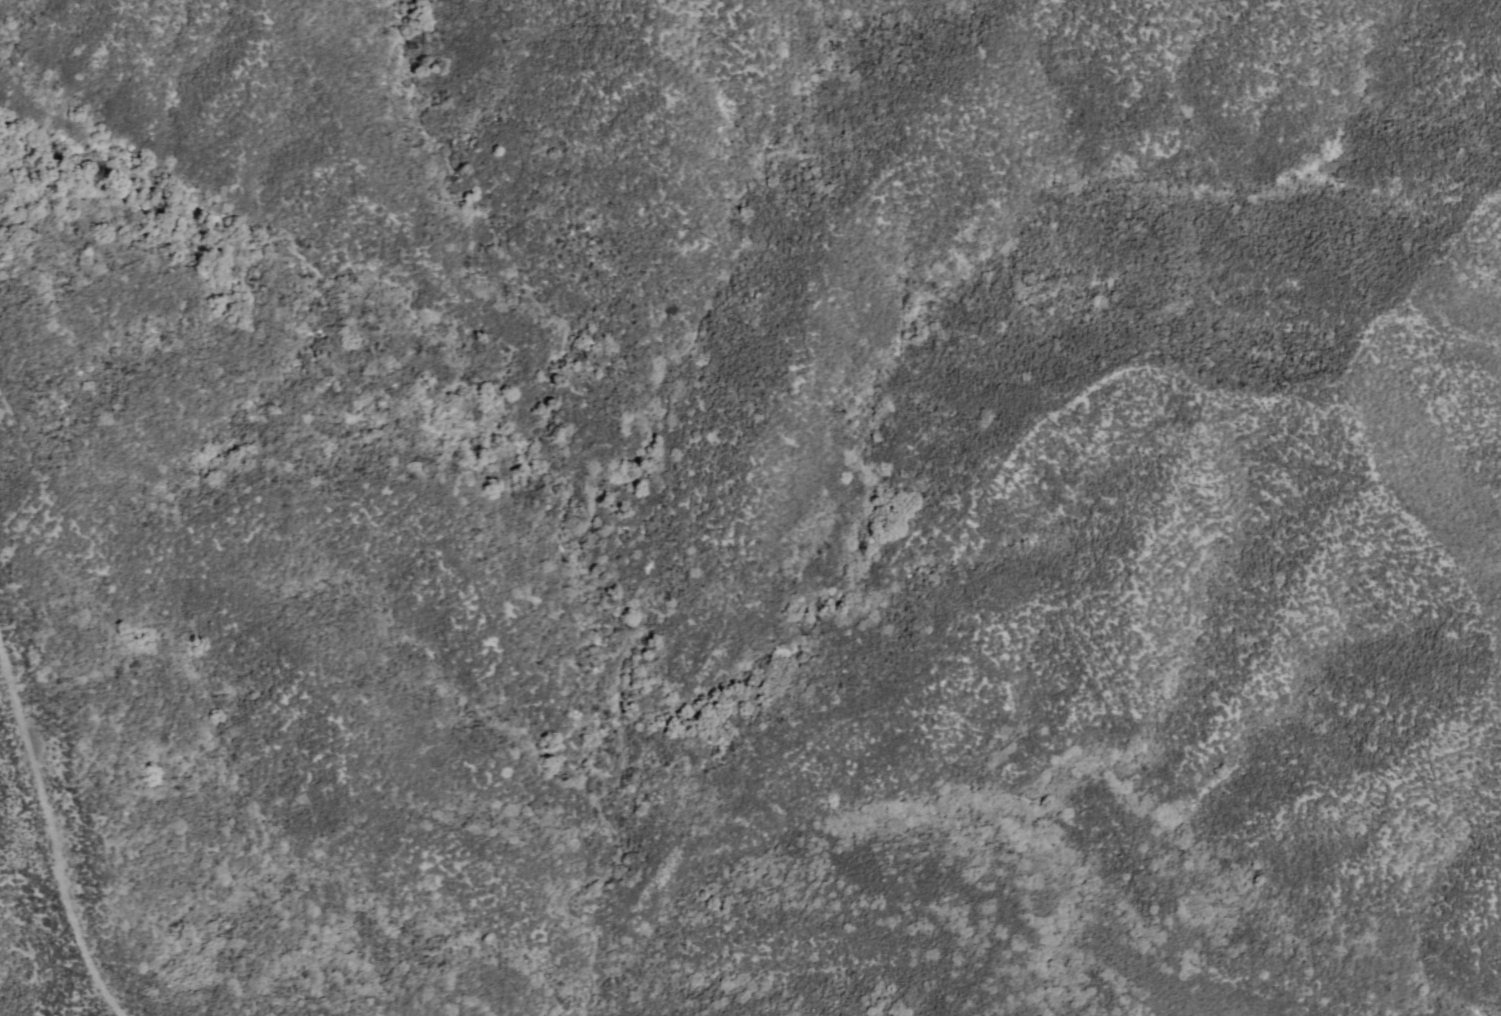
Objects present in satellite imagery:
road: (53, 829)

